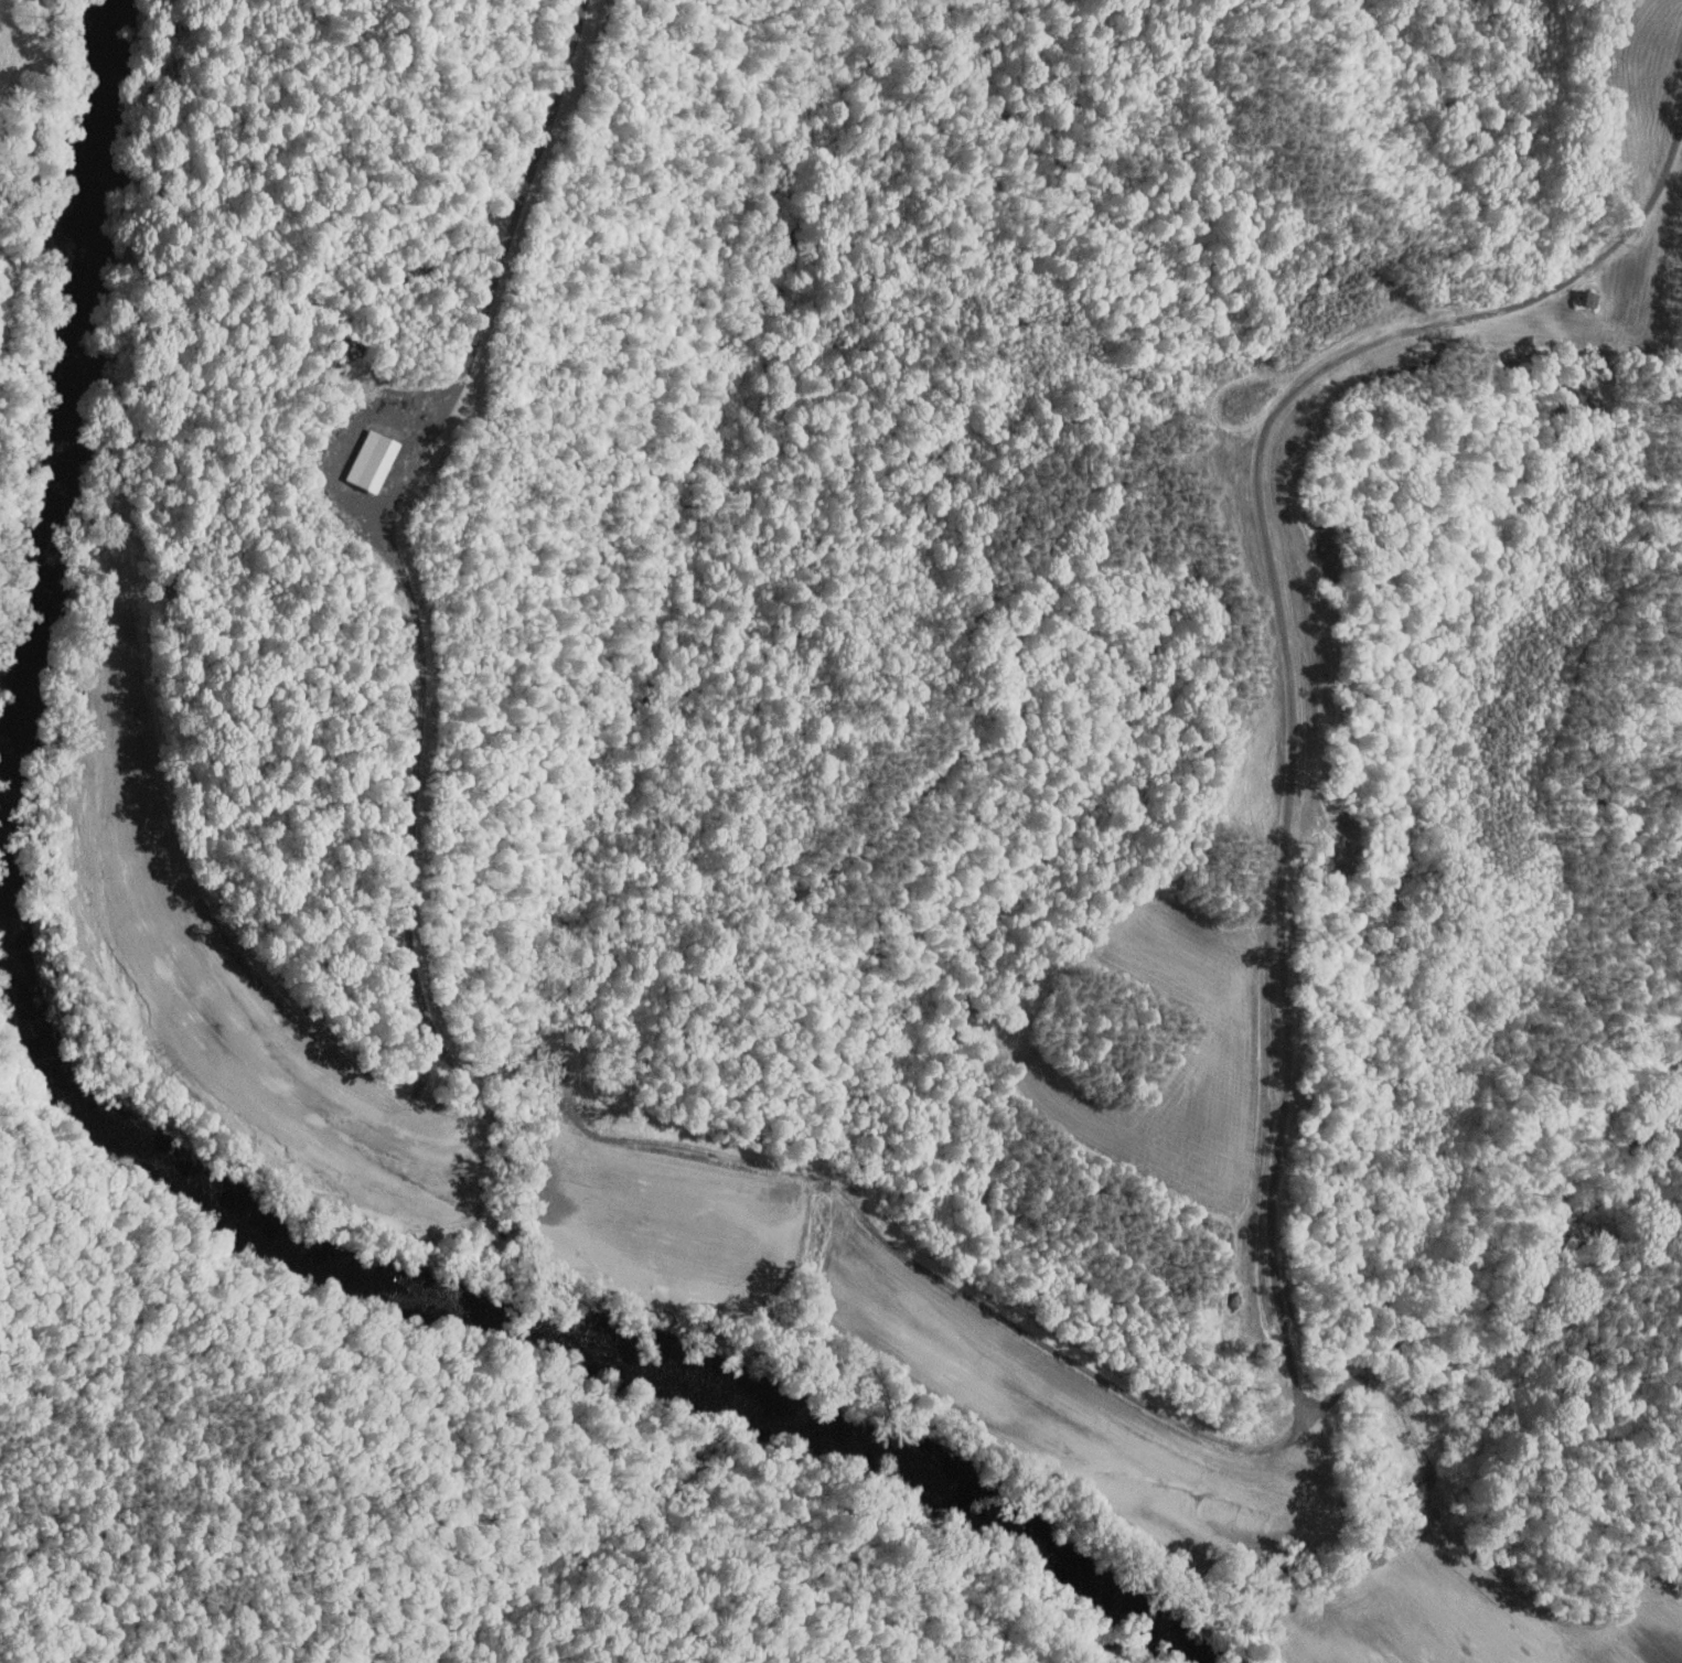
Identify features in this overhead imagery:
river: (90, 125)
building: (362, 454)
river: (49, 512)
river: (193, 1190)
river: (868, 1448)

